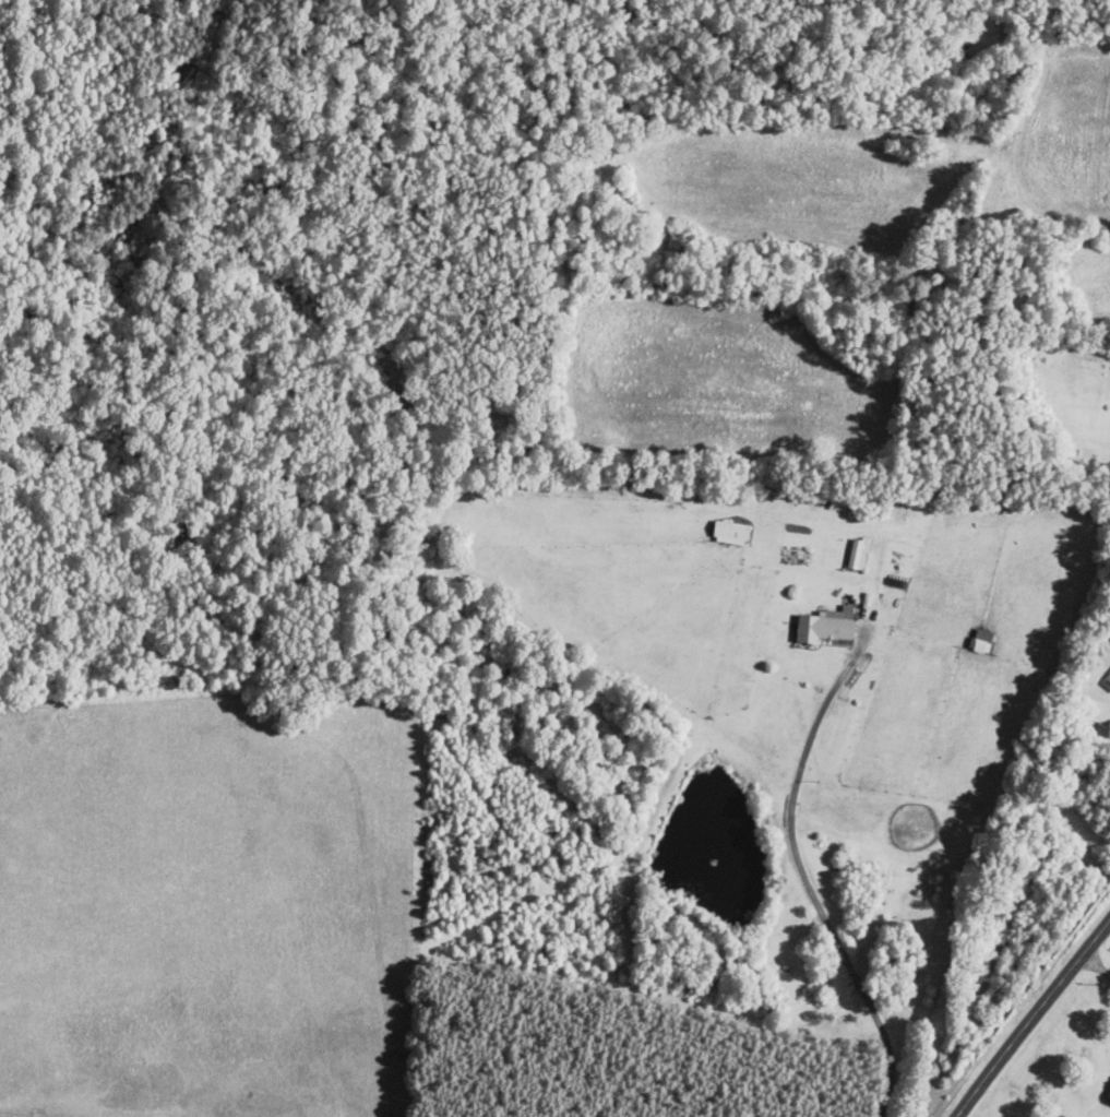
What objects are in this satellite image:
building: (728, 532)
building: (856, 552)
building: (822, 625)
building: (980, 641)
building: (1107, 678)
road: (803, 878)
road: (1095, 965)
road: (1031, 1015)
building: (1107, 1092)

